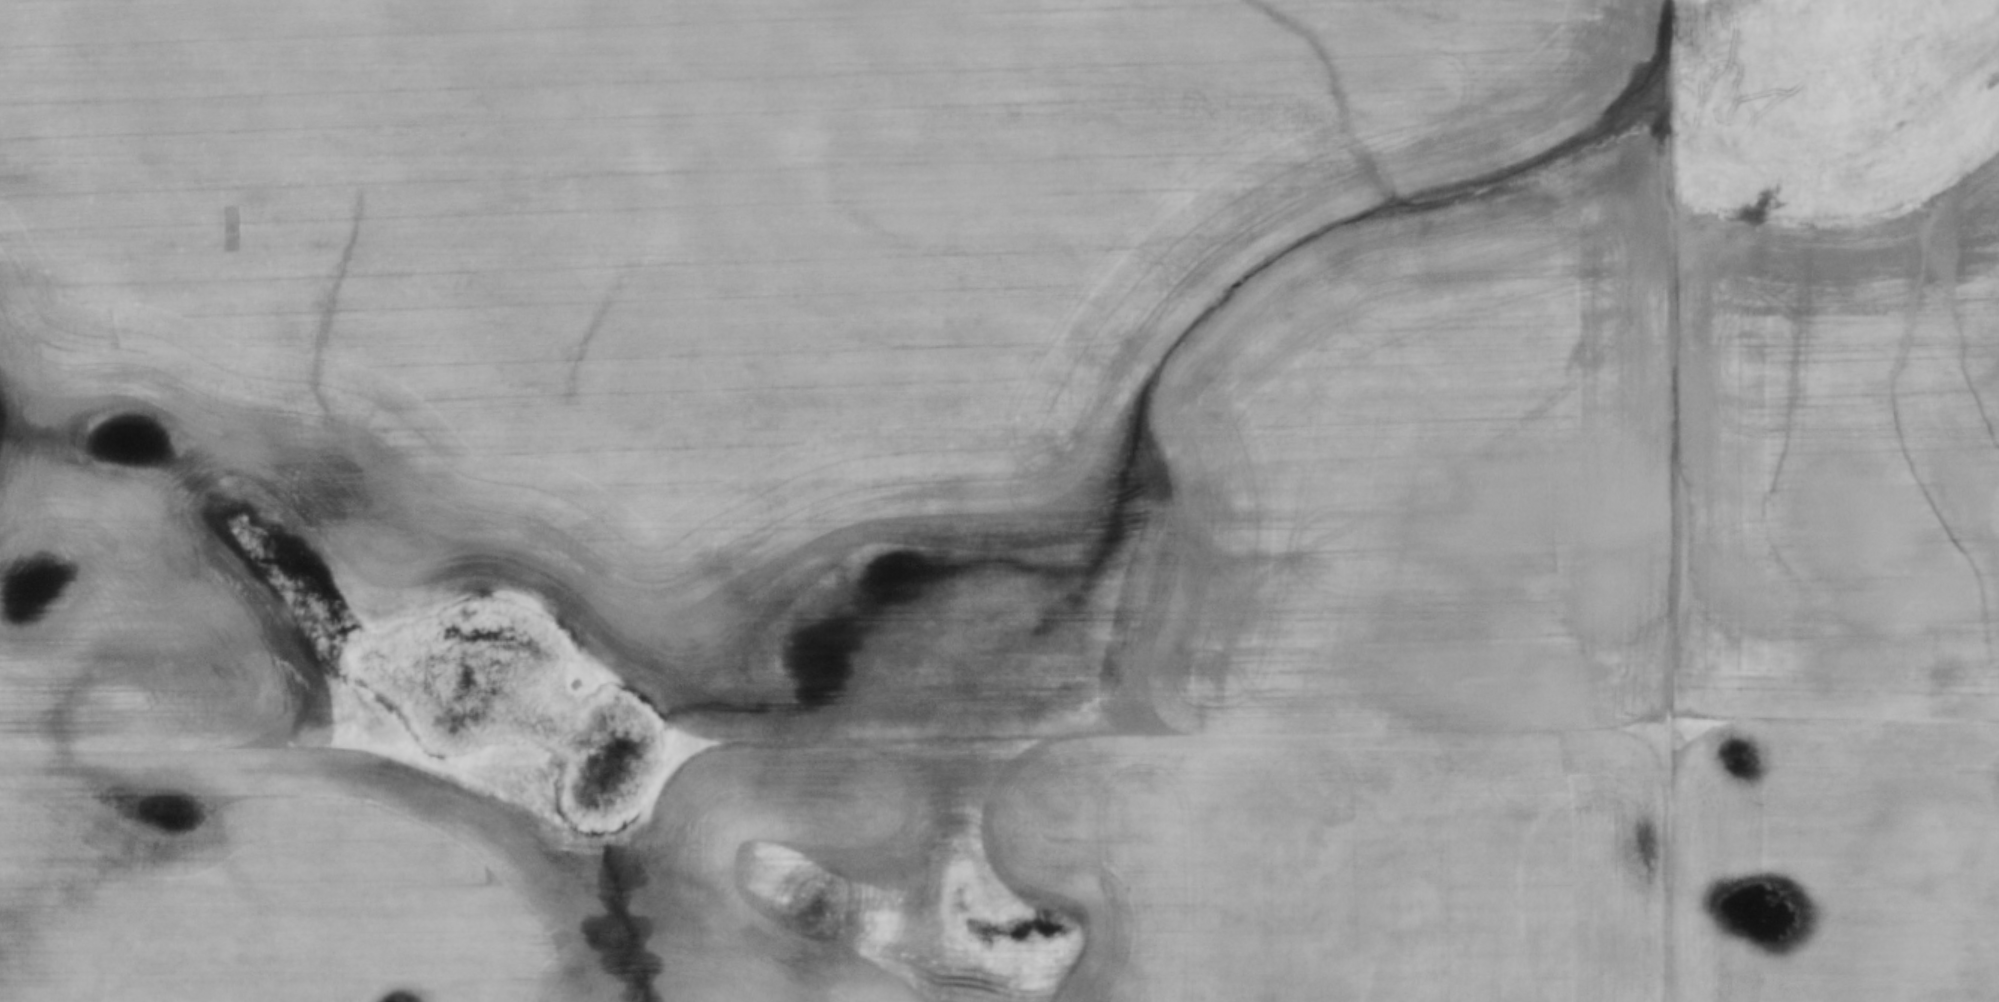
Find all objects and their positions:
road: (1674, 501)

